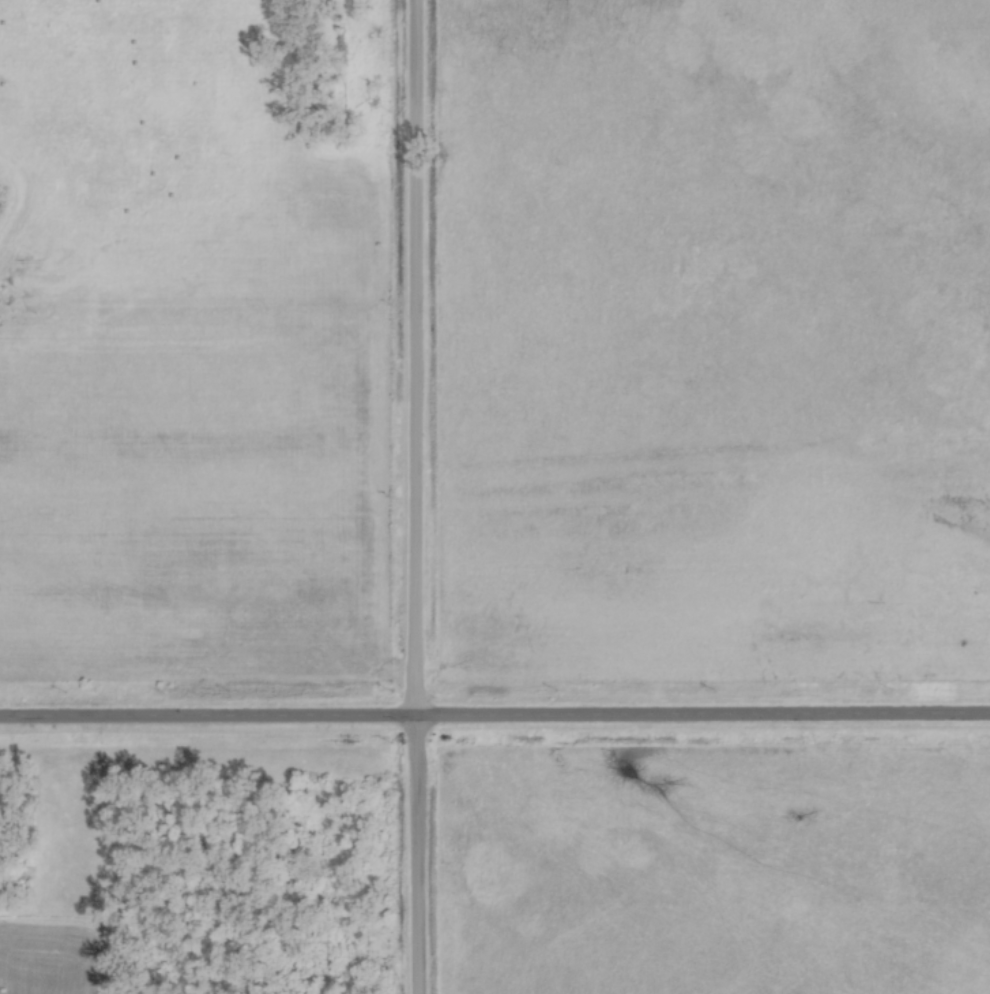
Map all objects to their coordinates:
road: (415, 497)
road: (494, 715)

